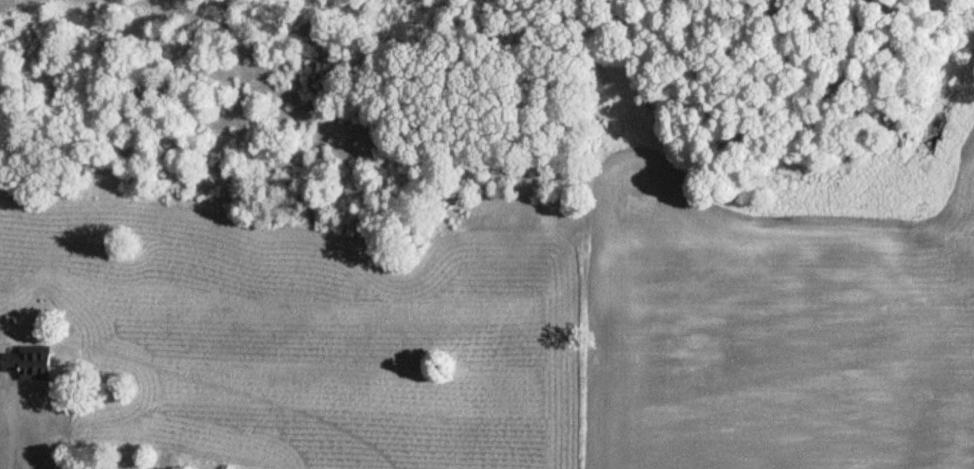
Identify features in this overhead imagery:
building: (31, 361)

